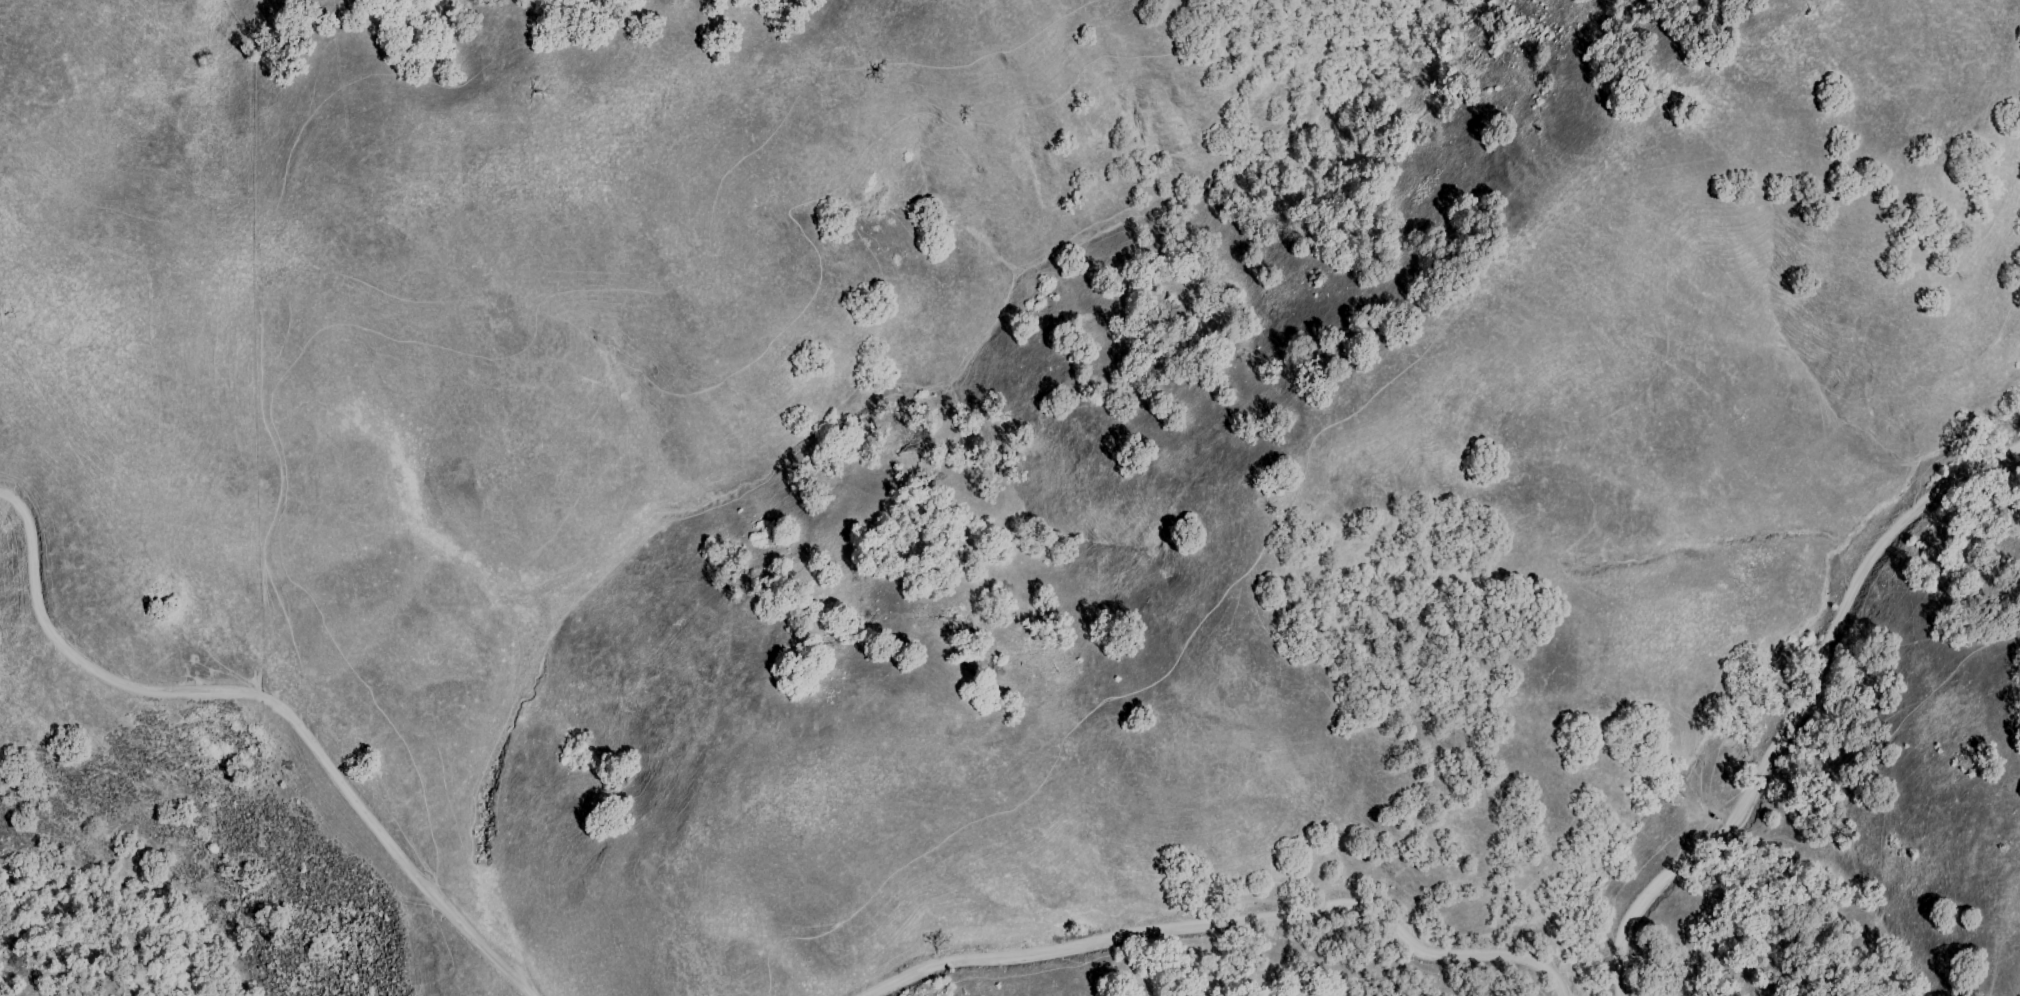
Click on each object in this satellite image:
road: (271, 701)
road: (1797, 710)
road: (1227, 927)

